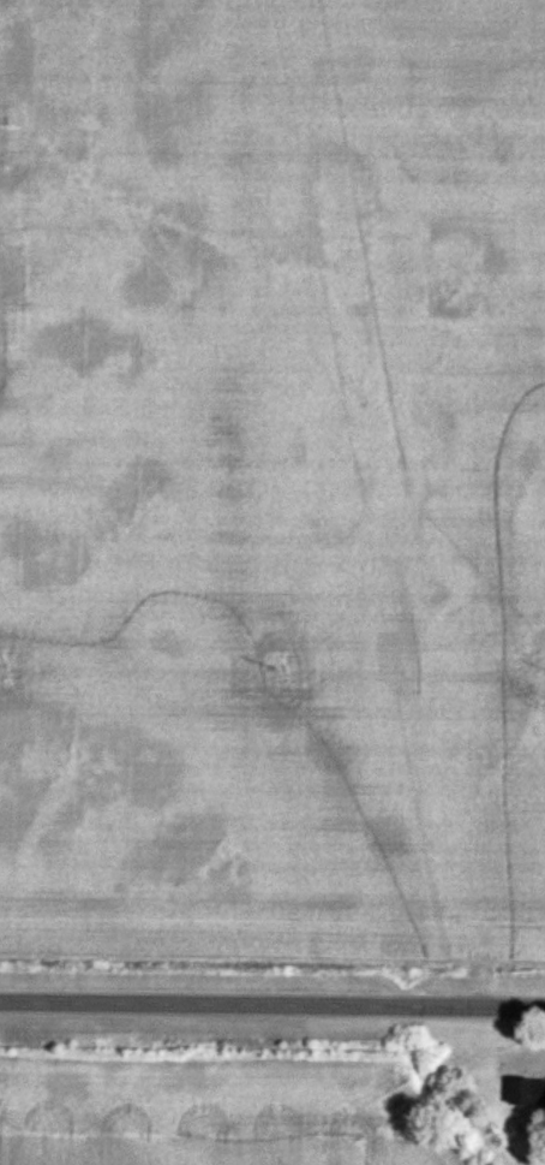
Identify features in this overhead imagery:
road: (272, 999)
building: (528, 1093)

